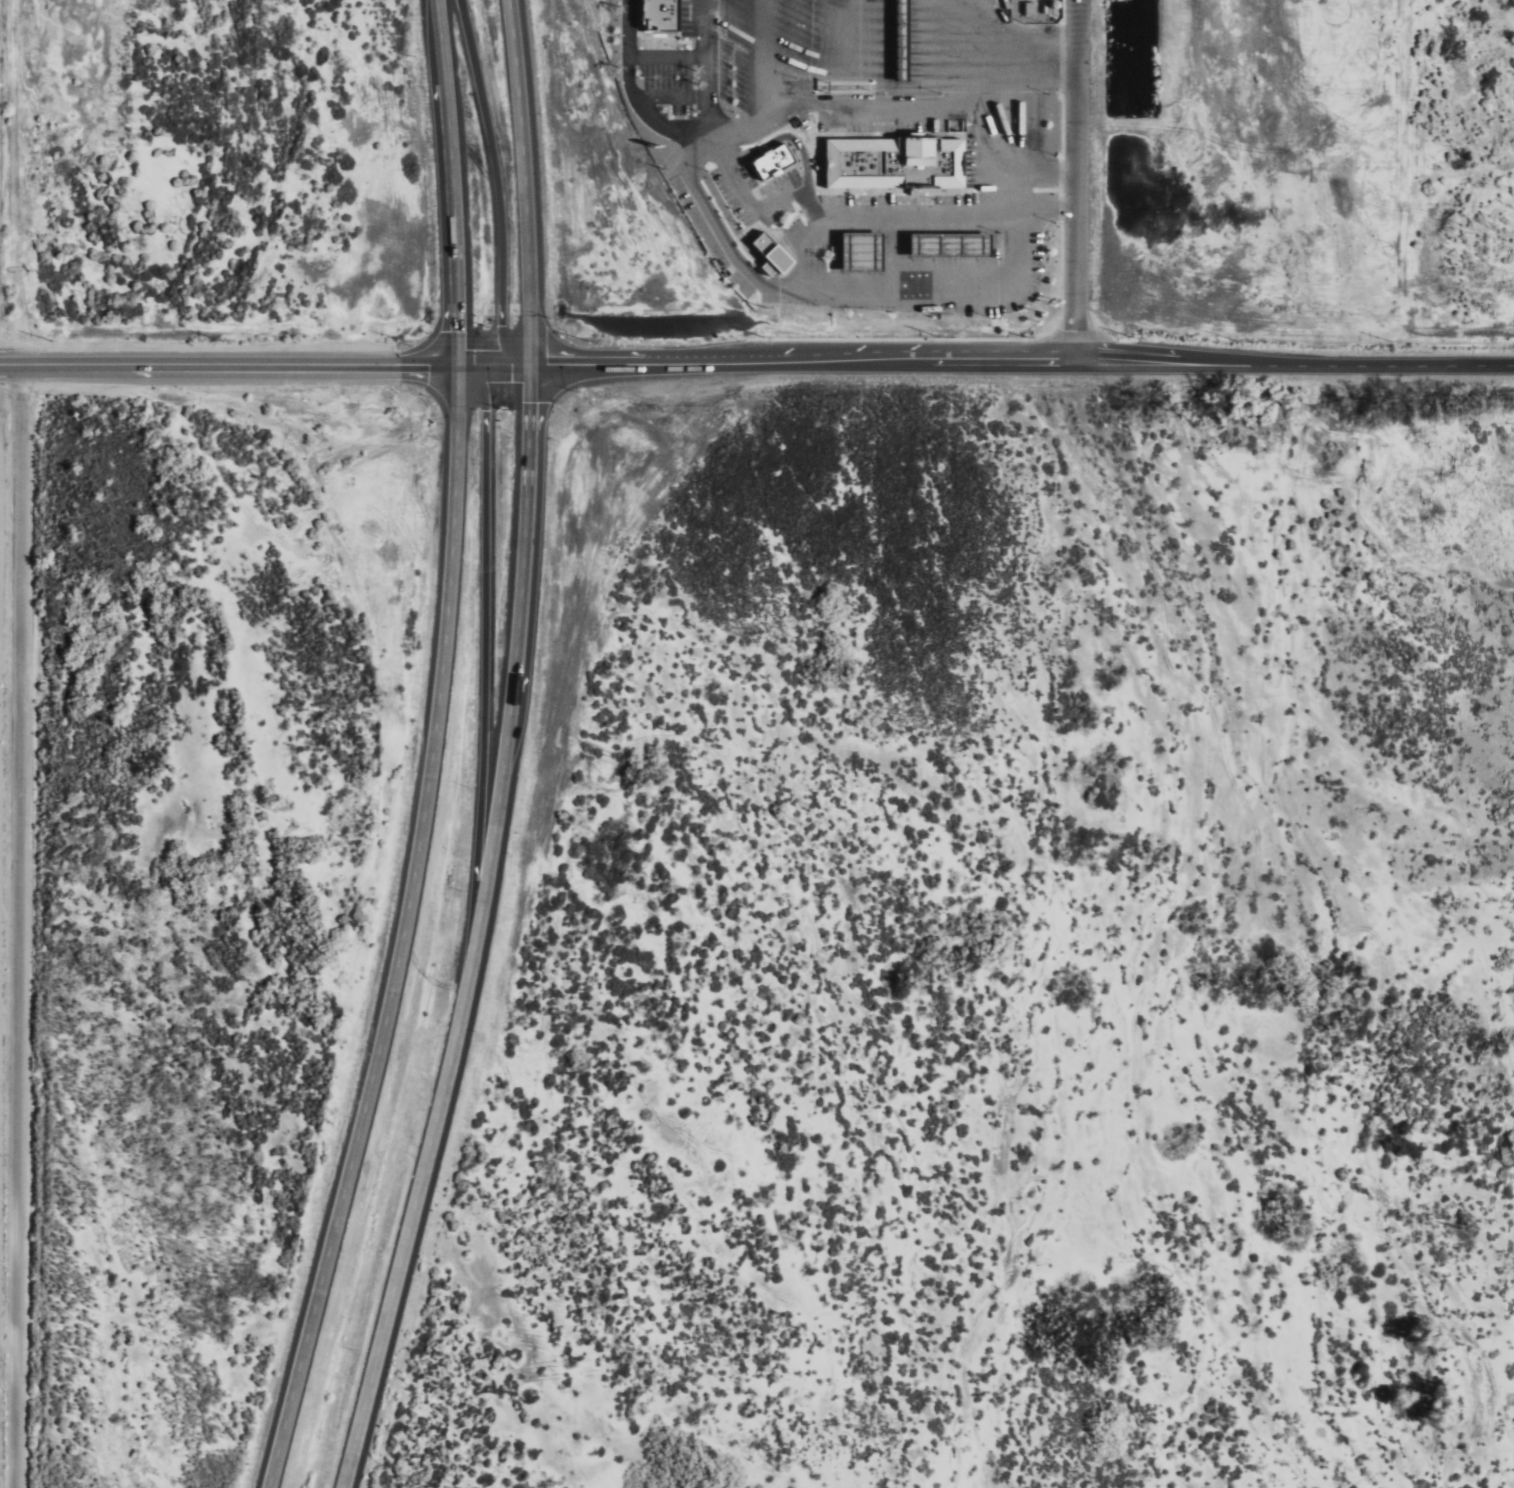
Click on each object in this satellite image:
building: (1032, 7)
building: (662, 15)
road: (767, 61)
road: (699, 72)
road: (638, 93)
road: (1018, 99)
road: (878, 101)
road: (762, 128)
building: (774, 160)
building: (897, 161)
road: (1073, 180)
road: (447, 182)
road: (524, 182)
road: (491, 186)
road: (708, 211)
building: (953, 245)
gas station: (953, 245)
building: (864, 251)
gas station: (864, 251)
building: (773, 253)
road: (982, 361)
road: (225, 365)
traffic signals: (451, 366)
traffic signals: (531, 366)
road: (523, 568)
road: (483, 659)
road: (403, 933)
road: (431, 1131)
road: (2, 1232)

